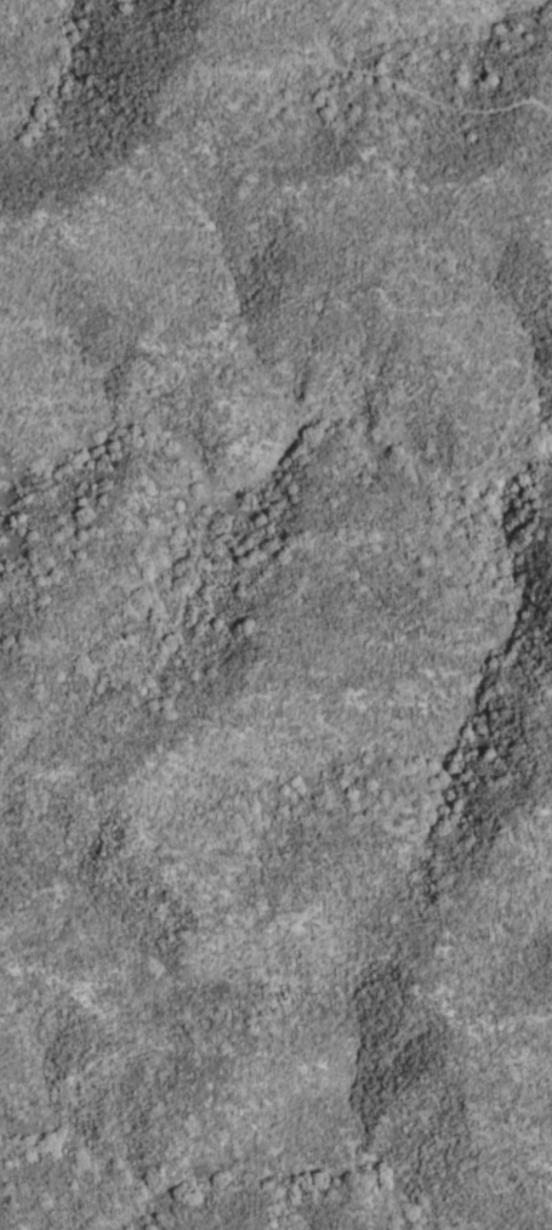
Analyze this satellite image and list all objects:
road: (408, 83)
road: (457, 467)

